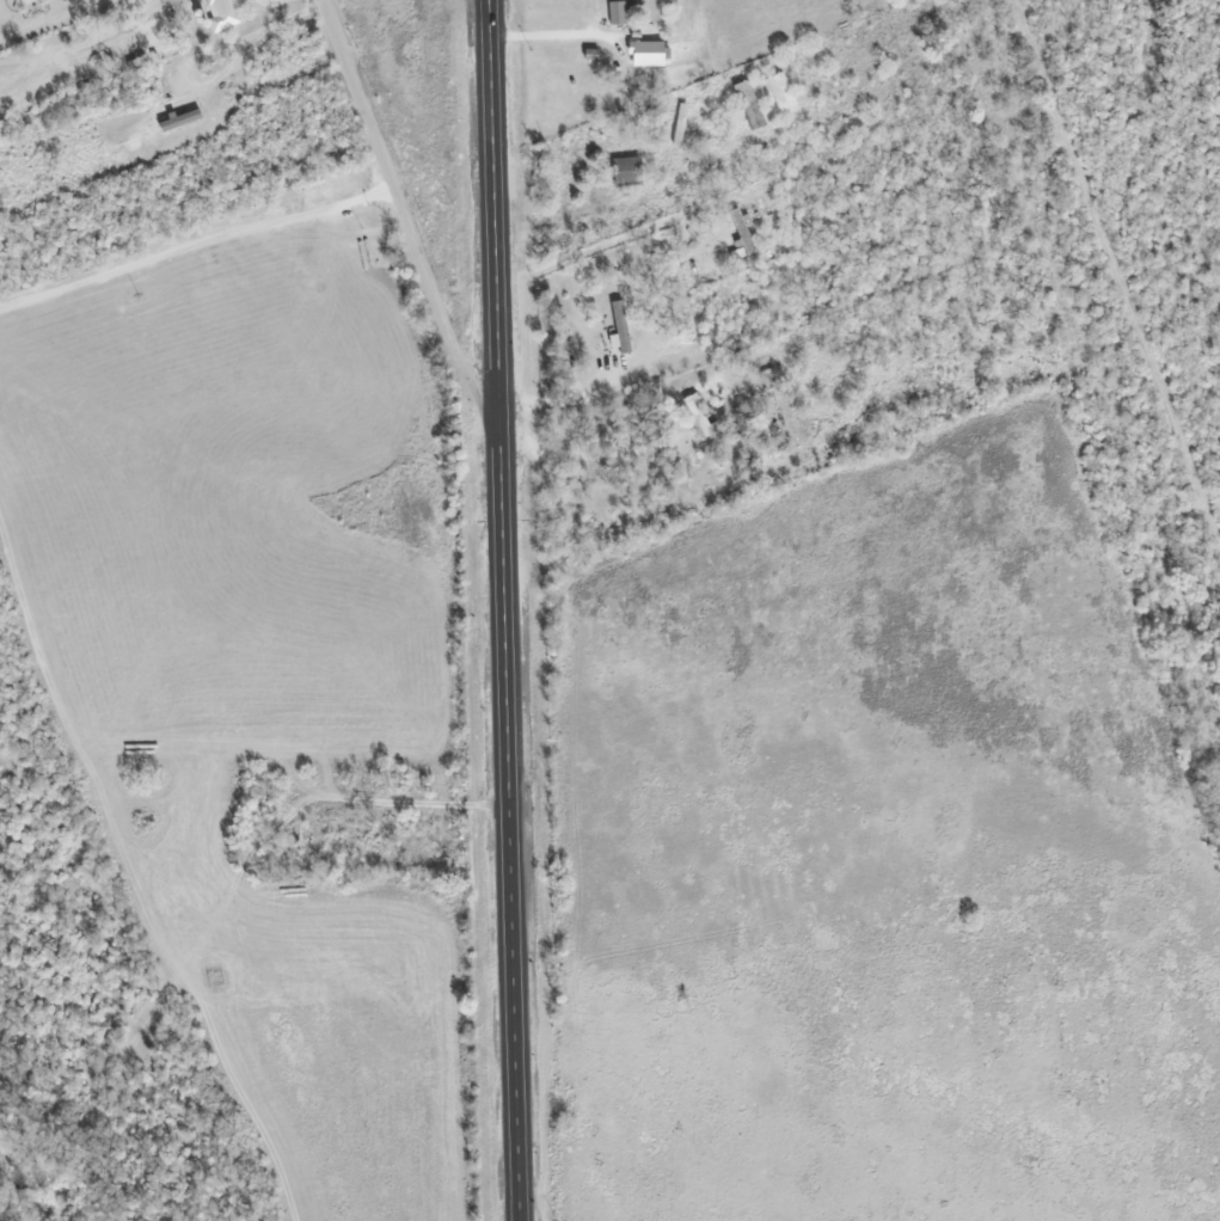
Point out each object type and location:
building: (222, 12)
building: (617, 13)
building: (645, 53)
building: (679, 123)
building: (626, 171)
road: (401, 219)
building: (740, 229)
building: (620, 274)
road: (1120, 274)
road: (505, 609)

